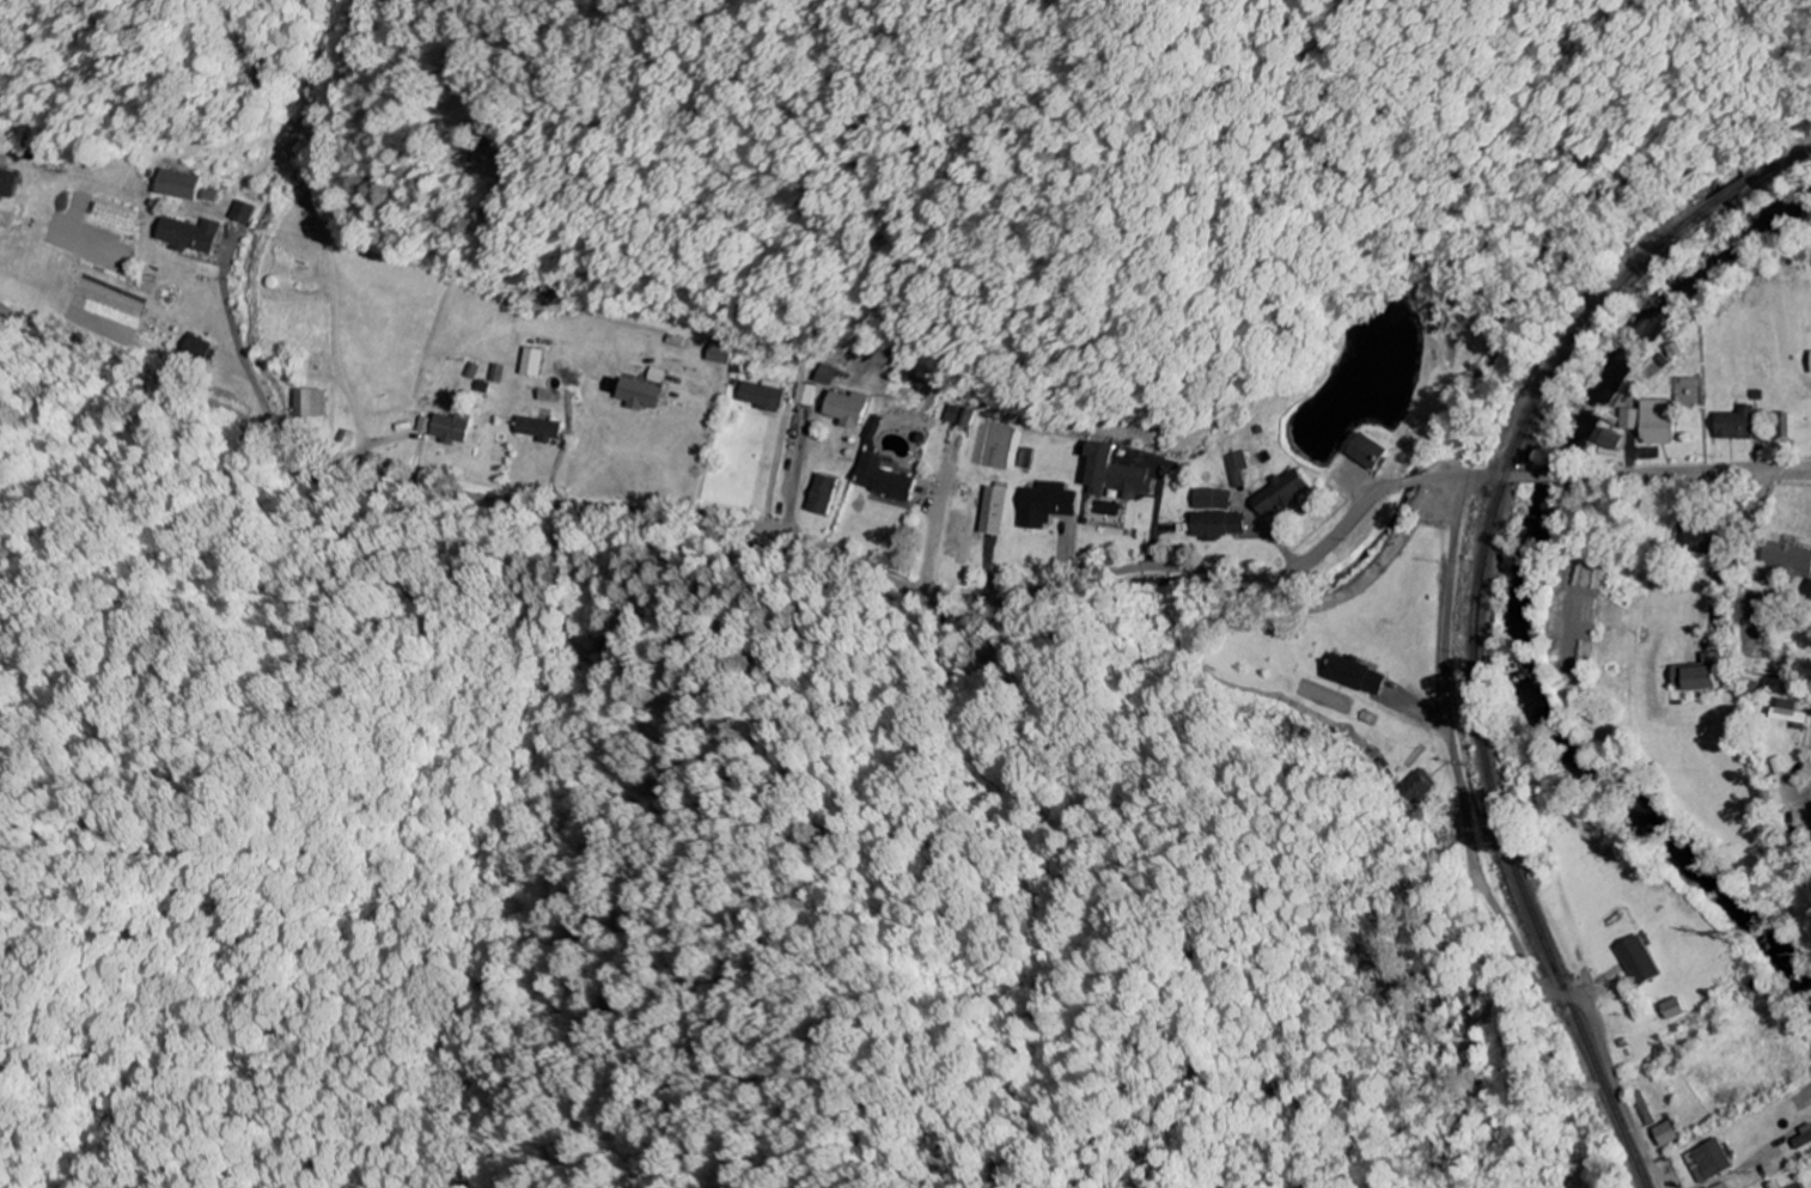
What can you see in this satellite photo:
building: (7, 185)
building: (177, 187)
building: (243, 214)
building: (190, 237)
building: (1445, 315)
building: (199, 351)
building: (720, 352)
building: (532, 364)
building: (633, 395)
building: (805, 396)
building: (762, 398)
building: (310, 404)
building: (848, 410)
building: (1669, 414)
building: (957, 418)
building: (1632, 421)
building: (1785, 424)
building: (1738, 426)
building: (445, 429)
building: (539, 431)
building: (1612, 441)
building: (1370, 455)
building: (1236, 470)
building: (1115, 474)
road: (1687, 476)
building: (883, 481)
building: (1282, 495)
building: (823, 496)
building: (1213, 501)
building: (1047, 506)
building: (993, 513)
building: (1218, 526)
road: (783, 532)
building: (1695, 541)
road: (1348, 543)
building: (1788, 559)
building: (1809, 595)
railway: (1478, 614)
building: (1701, 675)
building: (1355, 676)
building: (1791, 714)
building: (1417, 788)
road: (1474, 863)
building: (1639, 962)
building: (1673, 1010)
building: (1667, 1135)
building: (1709, 1162)
building: (1718, 1187)

